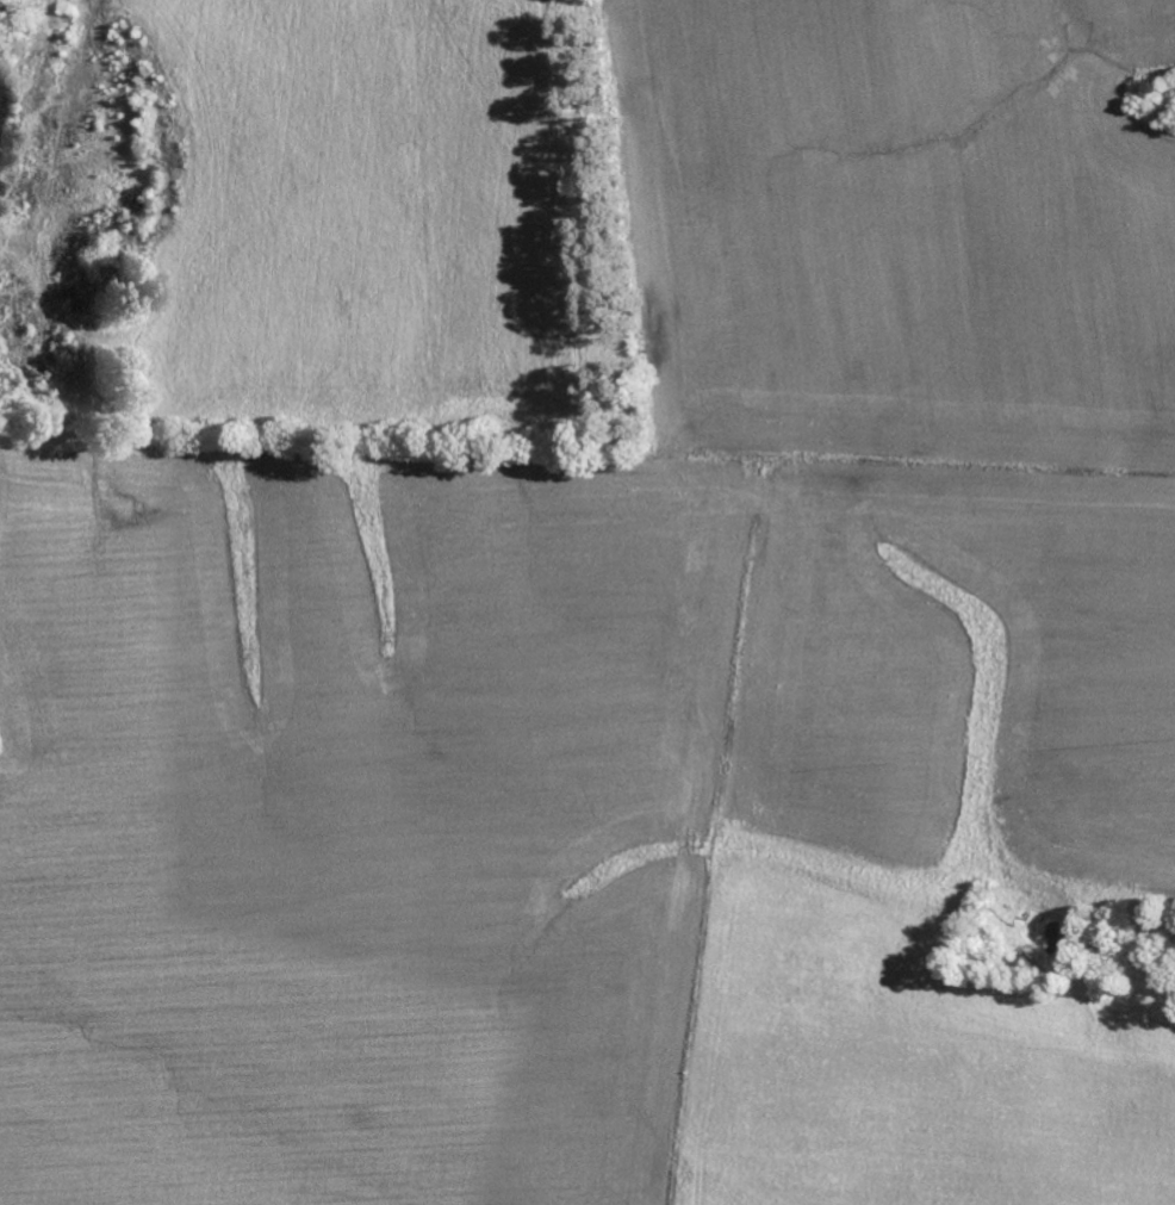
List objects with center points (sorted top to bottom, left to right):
road: (4, 19)

